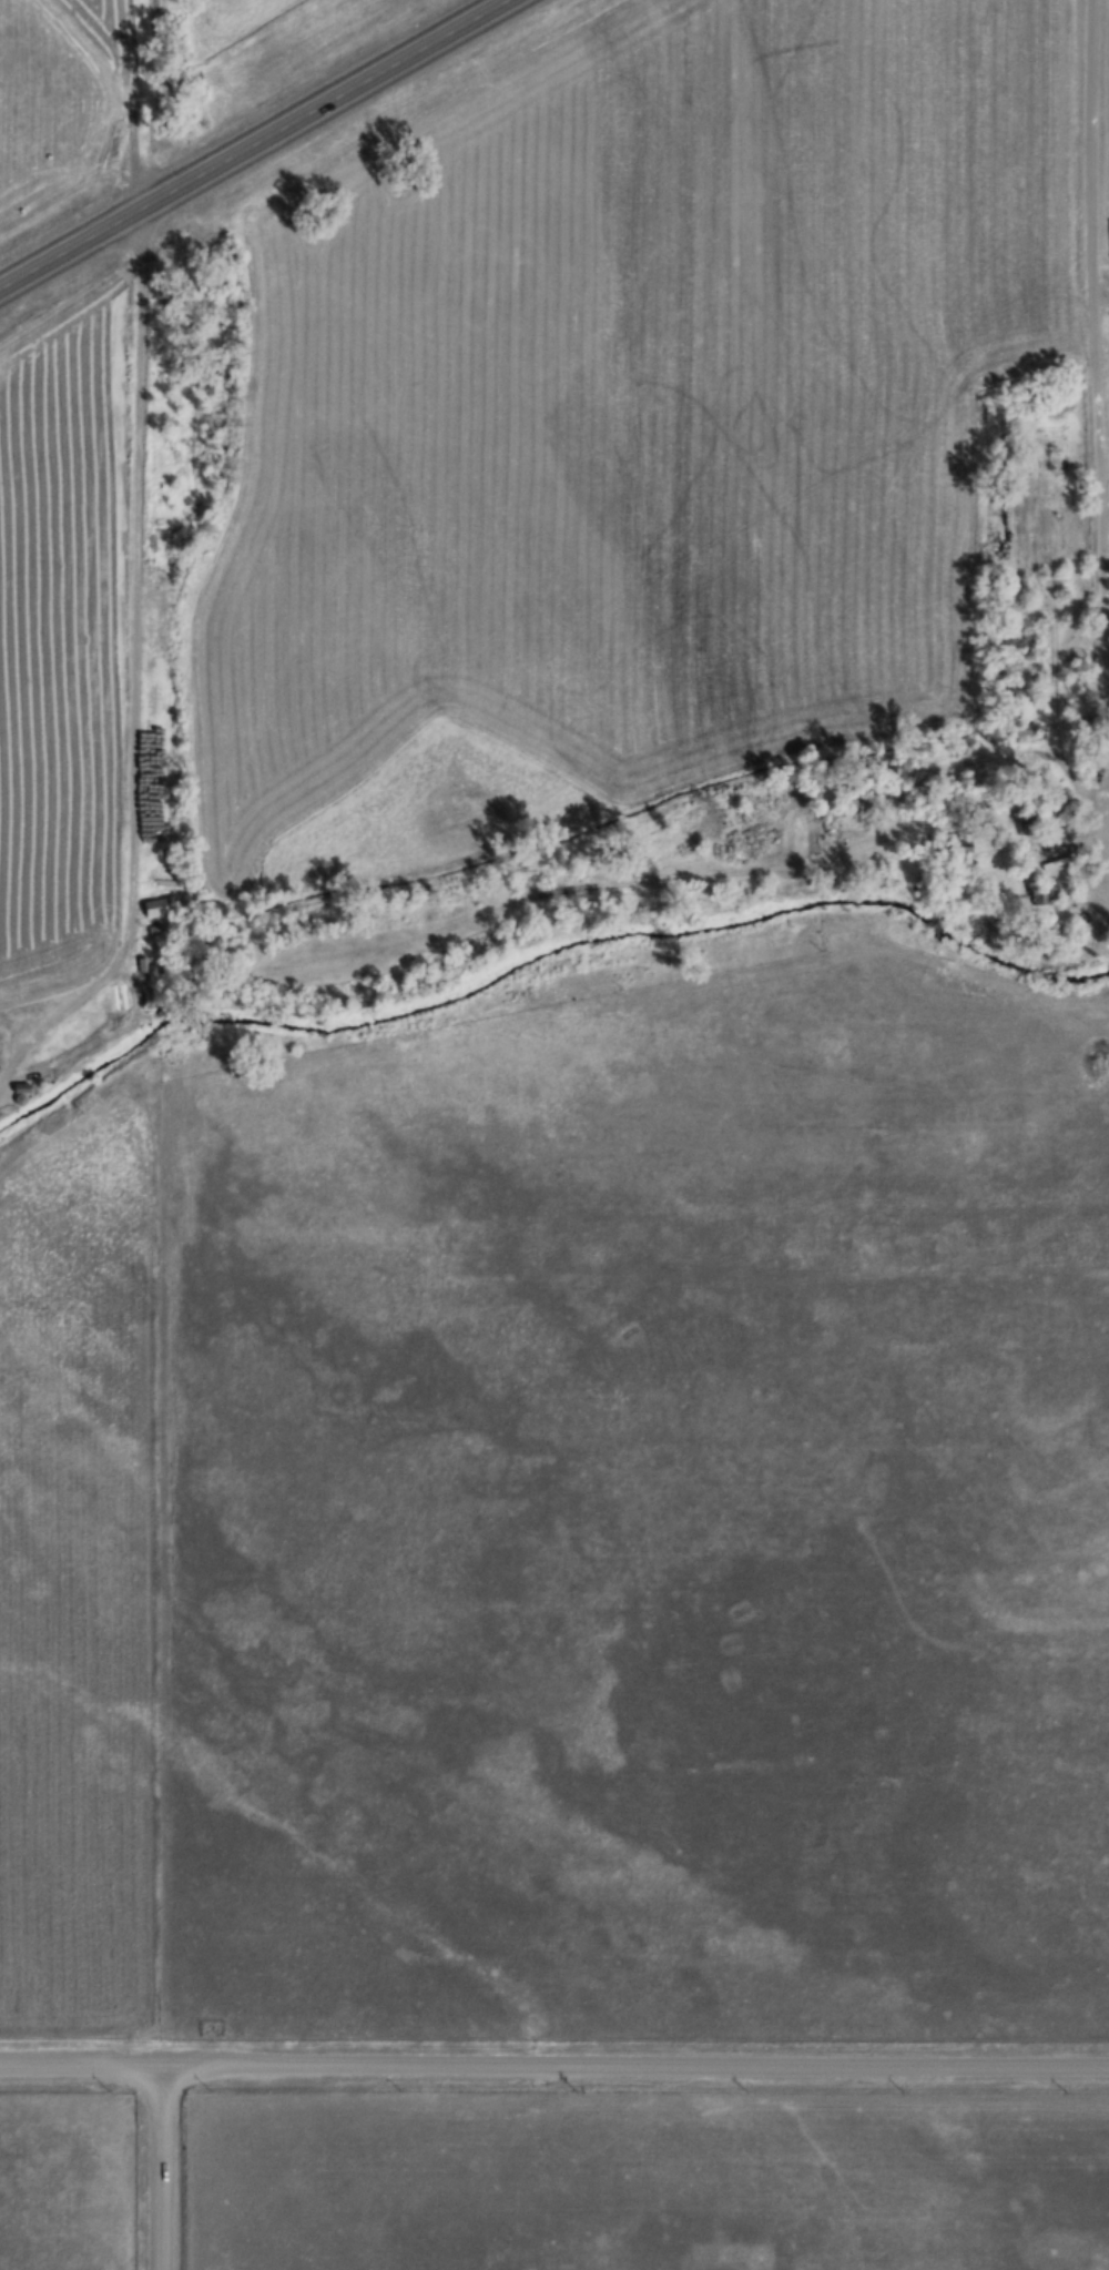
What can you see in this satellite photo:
road: (254, 144)
railway: (332, 195)
road: (1091, 337)
road: (134, 671)
building: (1025, 728)
building: (1026, 828)
building: (965, 847)
building: (1047, 894)
building: (162, 908)
building: (23, 1091)
road: (631, 2068)
road: (77, 2069)
road: (154, 2169)

